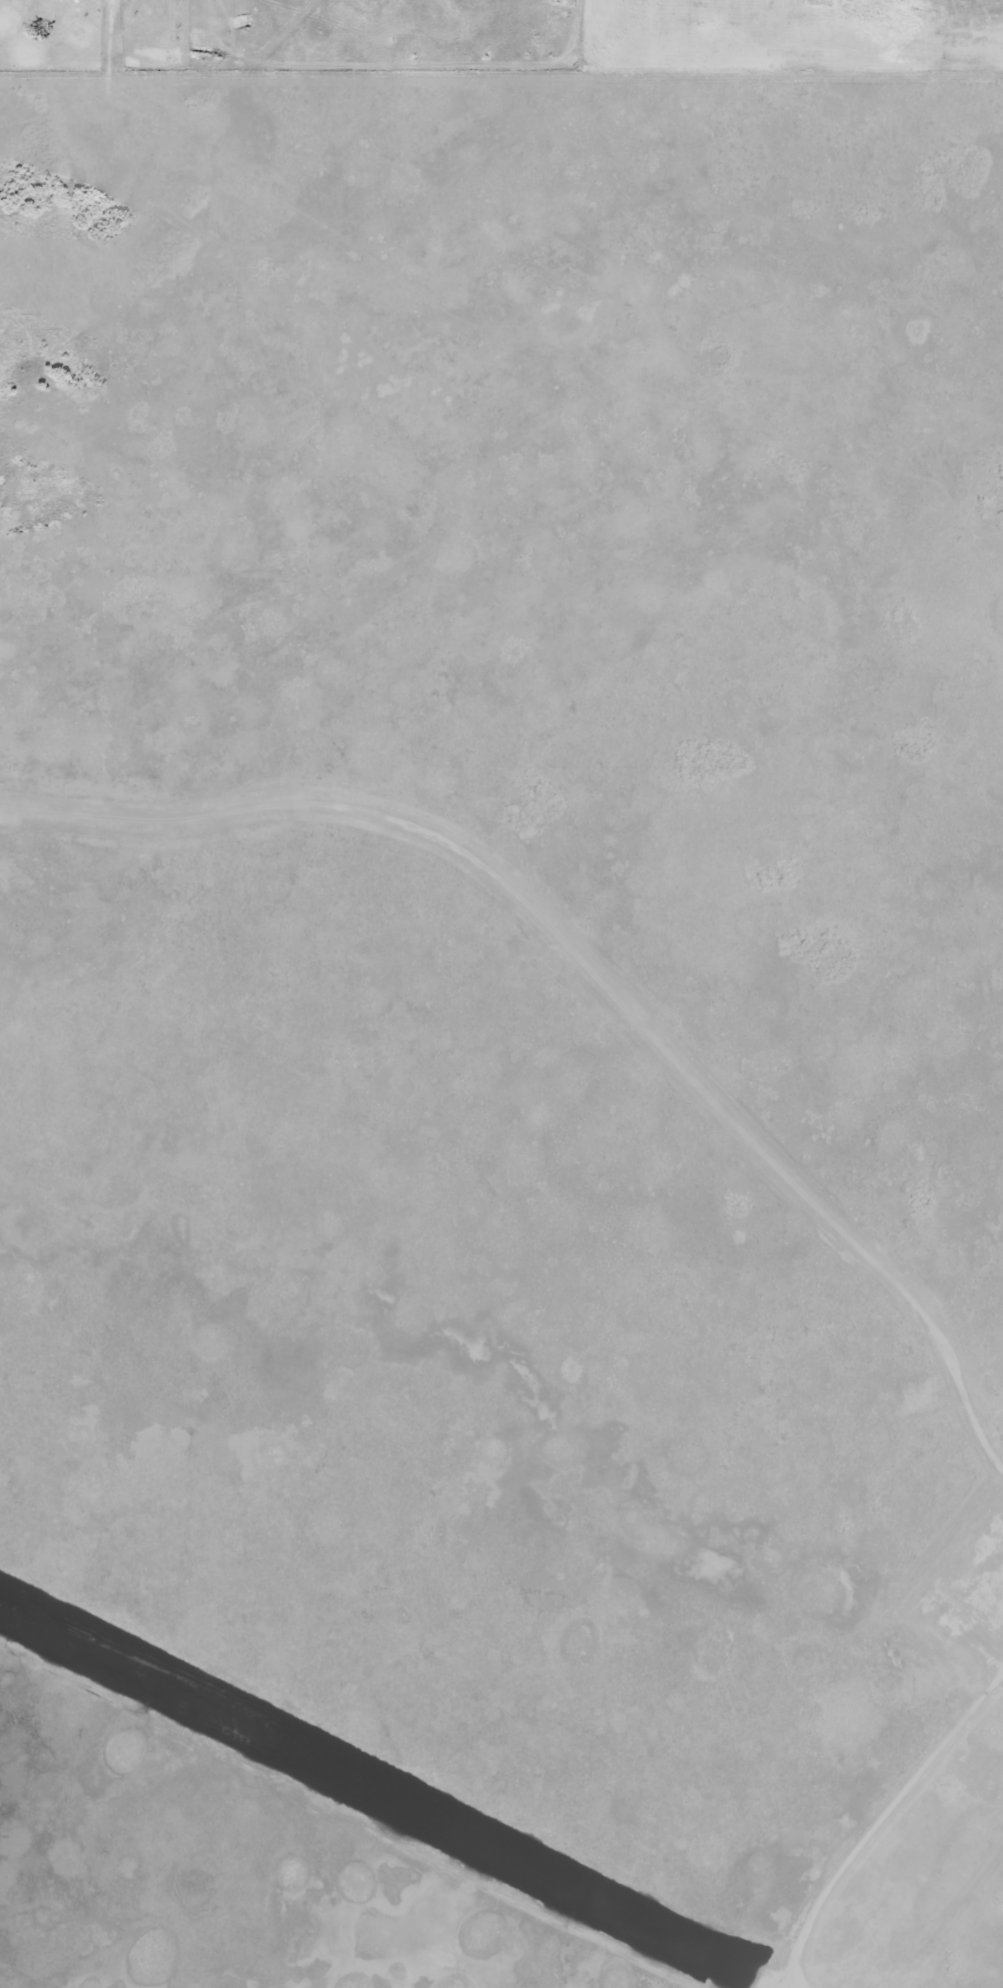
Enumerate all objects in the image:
road: (881, 1821)

